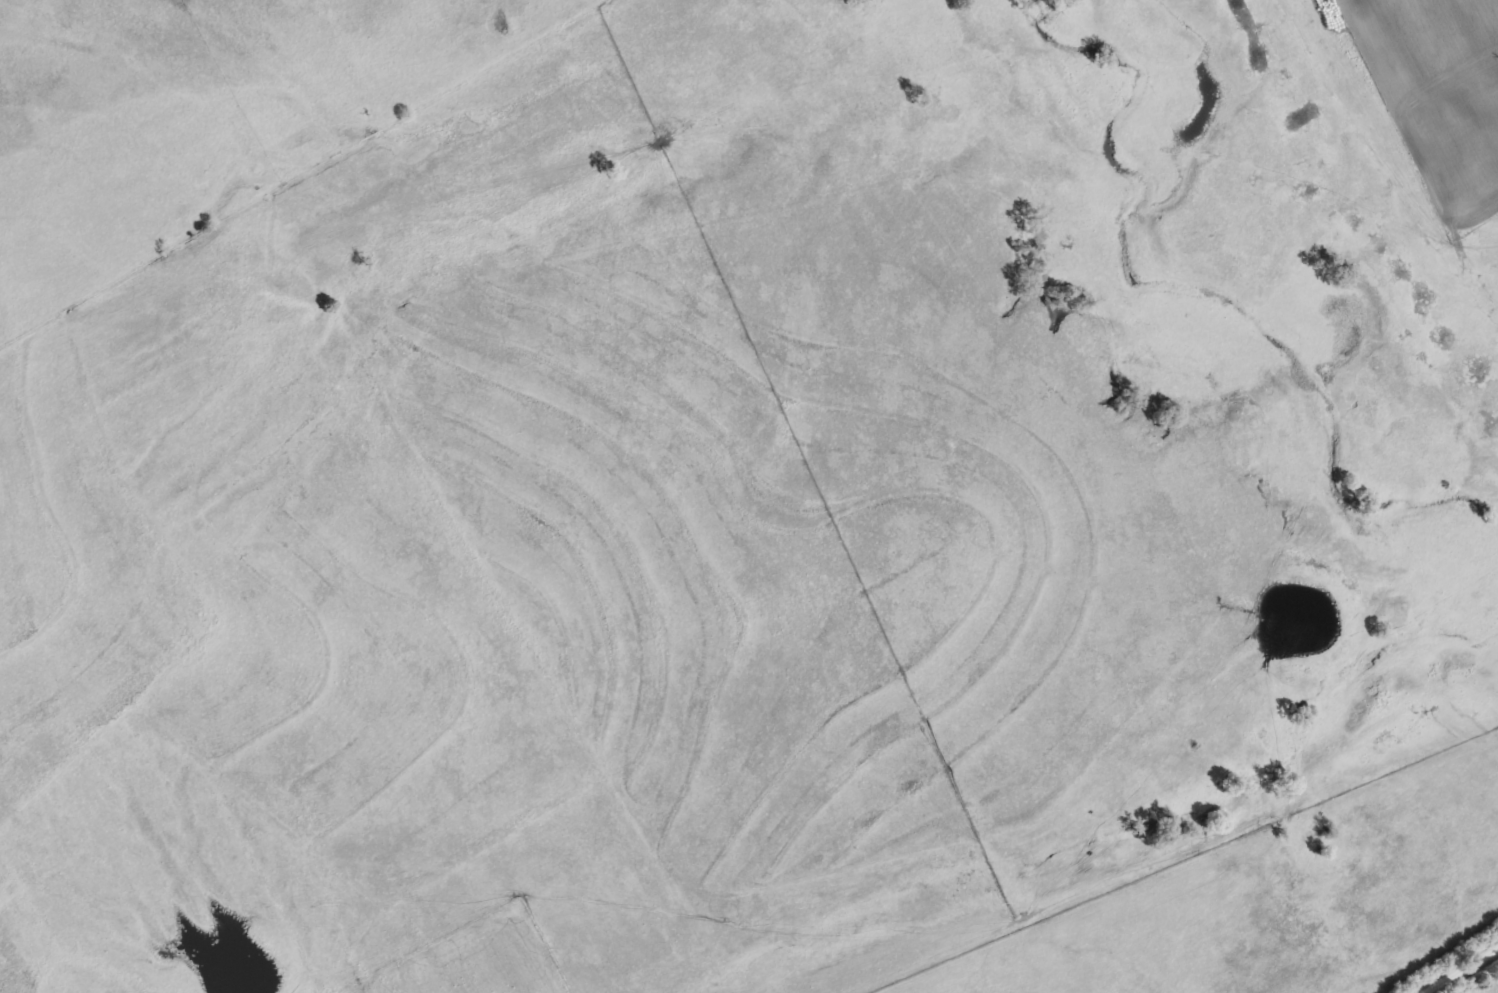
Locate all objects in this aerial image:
road: (1458, 969)

